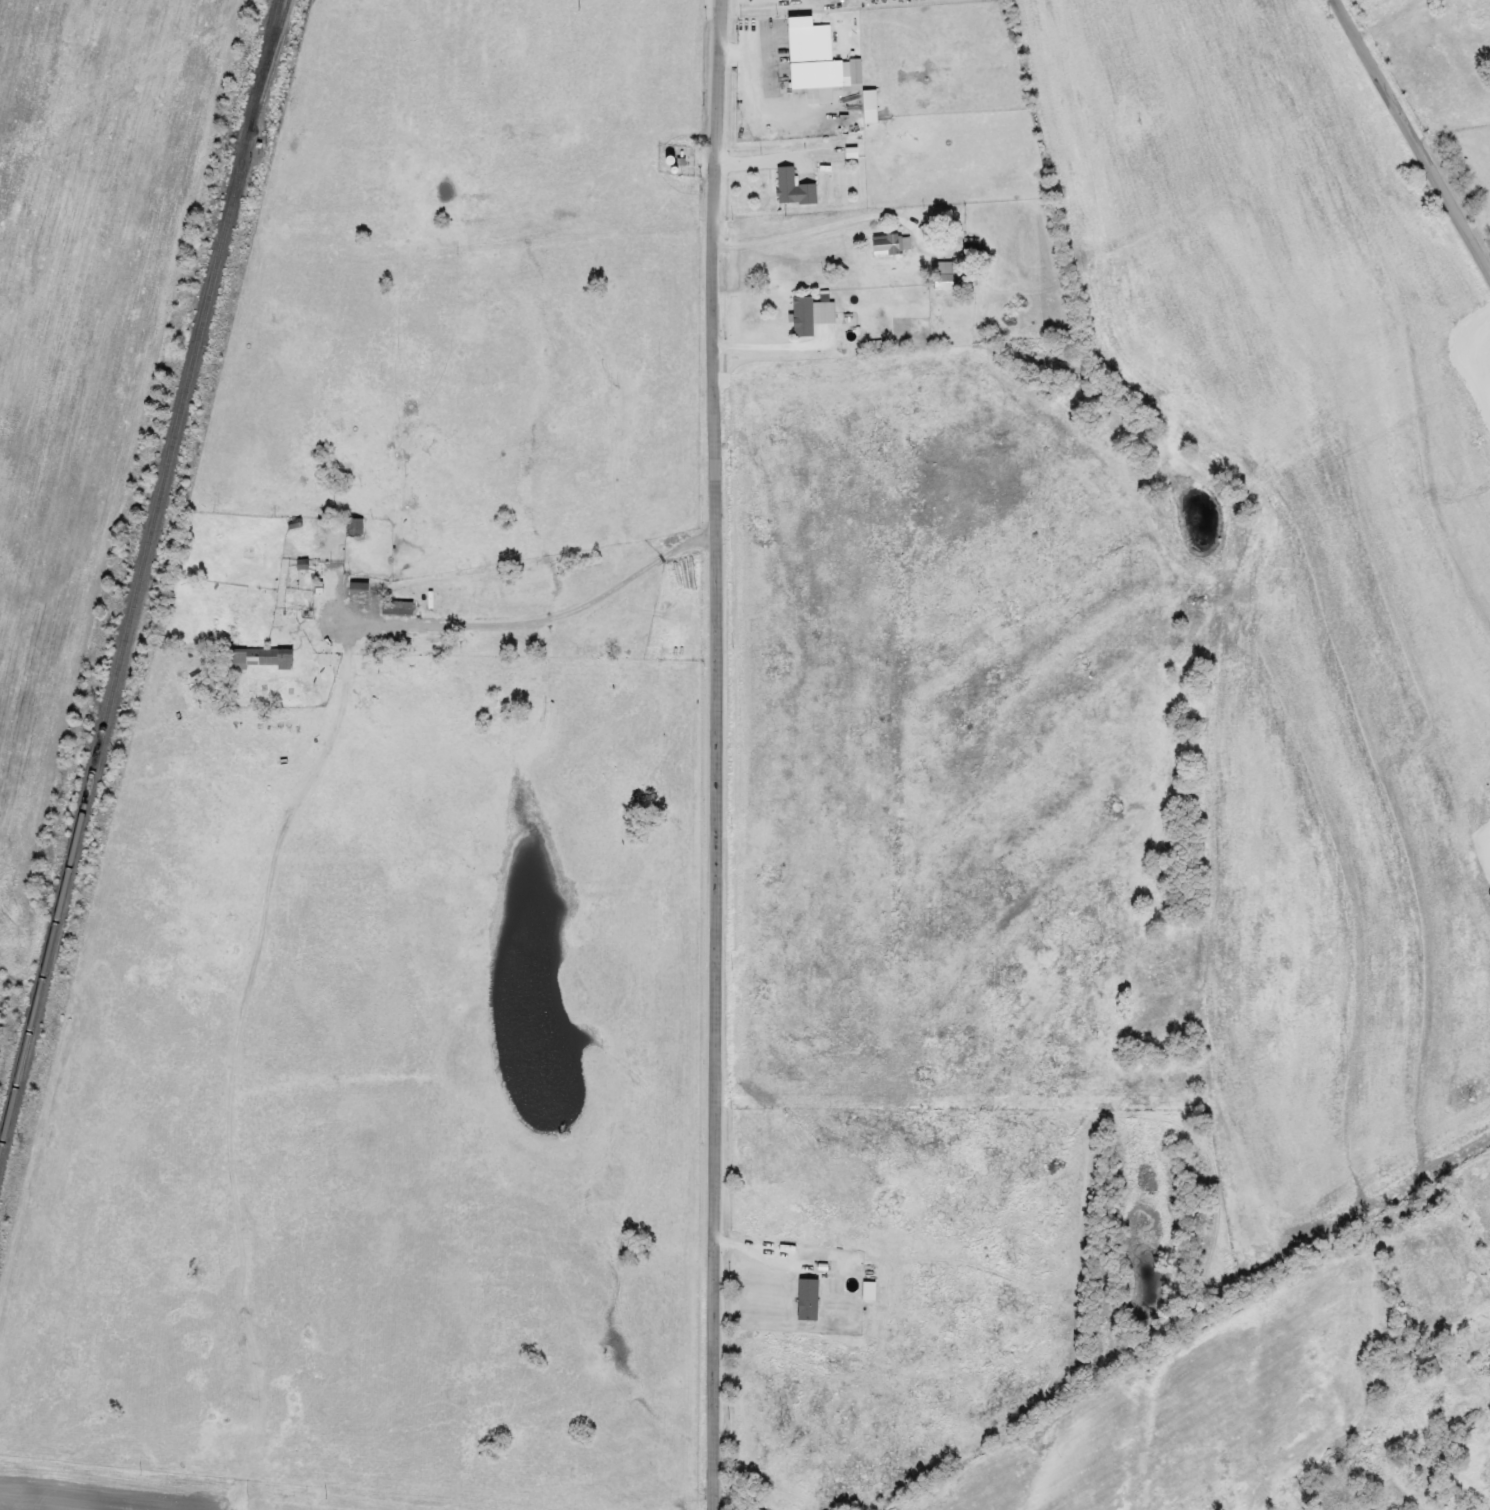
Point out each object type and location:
building: (812, 54)
building: (858, 69)
railway: (268, 71)
building: (870, 98)
road: (1411, 137)
building: (795, 187)
building: (891, 242)
building: (943, 273)
building: (812, 313)
crop: (81, 327)
building: (354, 527)
railway: (140, 571)
building: (362, 592)
building: (397, 607)
building: (262, 657)
road: (714, 754)
building: (1430, 1367)

